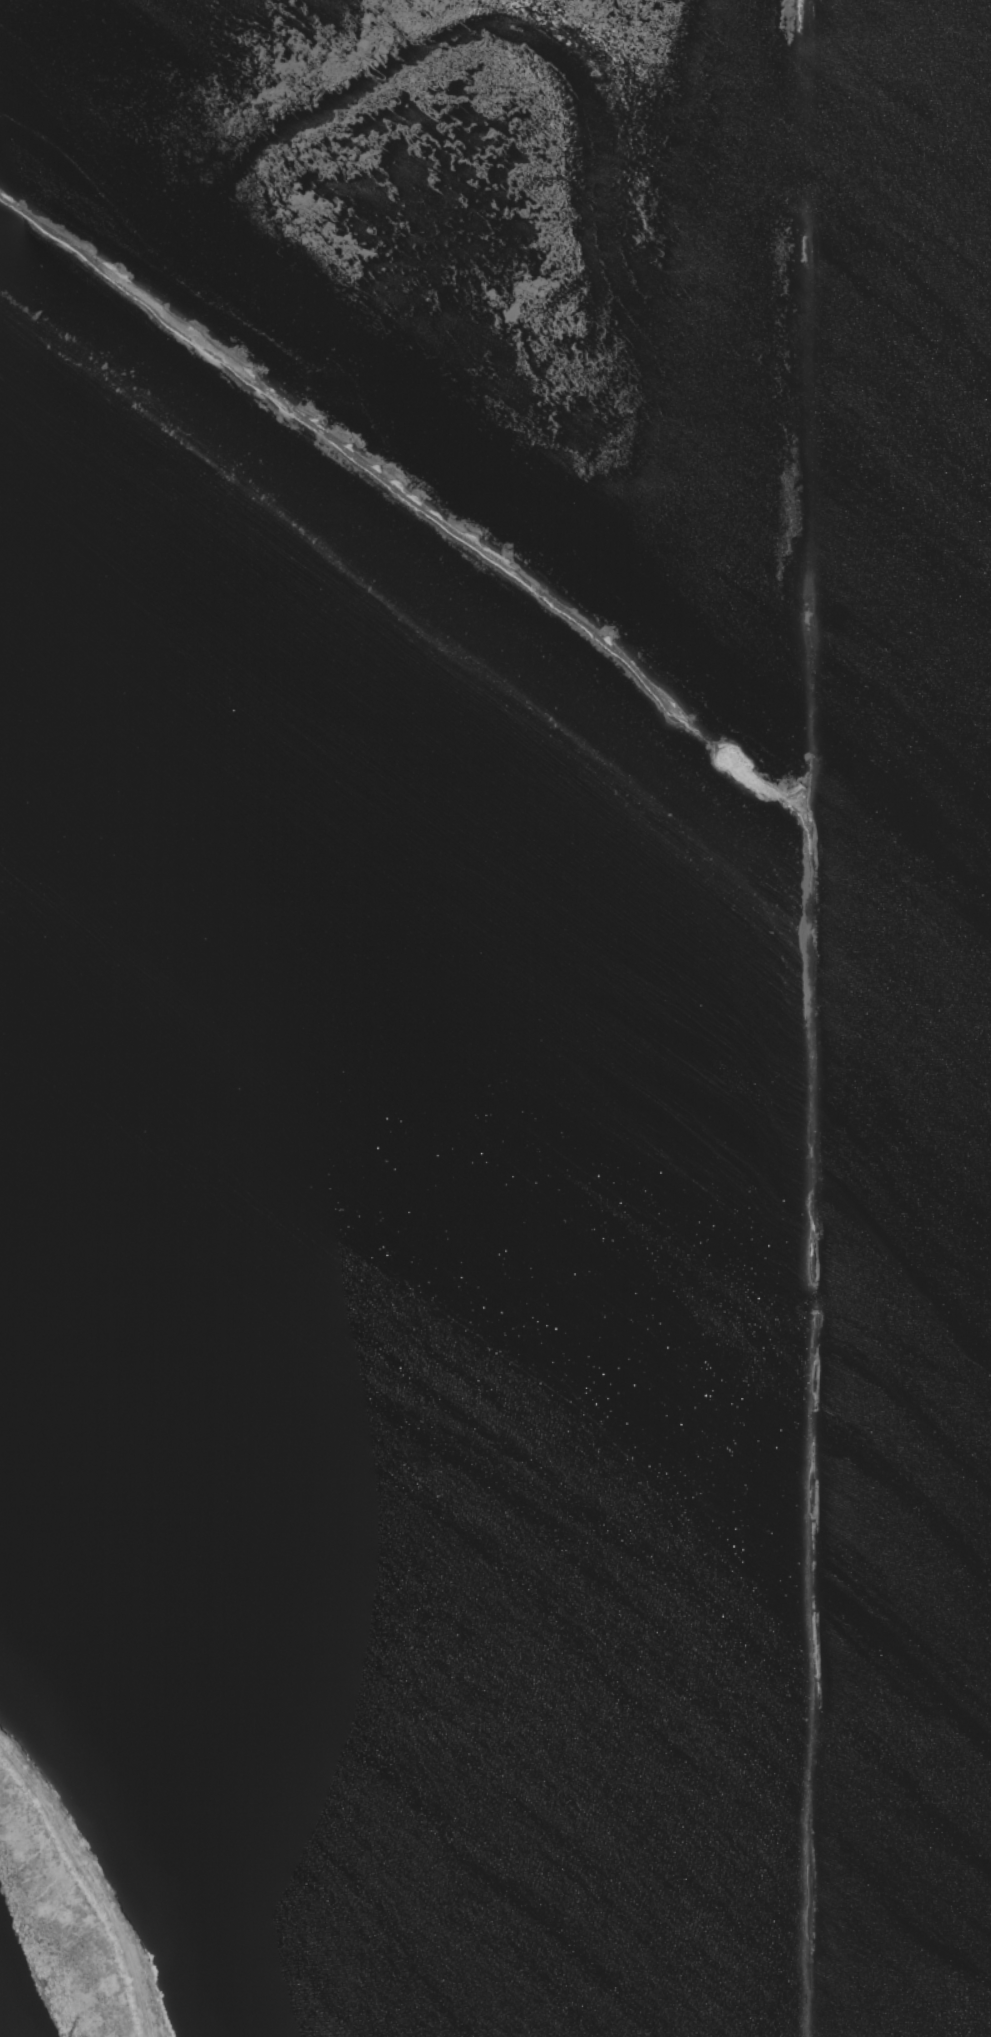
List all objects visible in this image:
road: (92, 1882)
river: (14, 2008)

